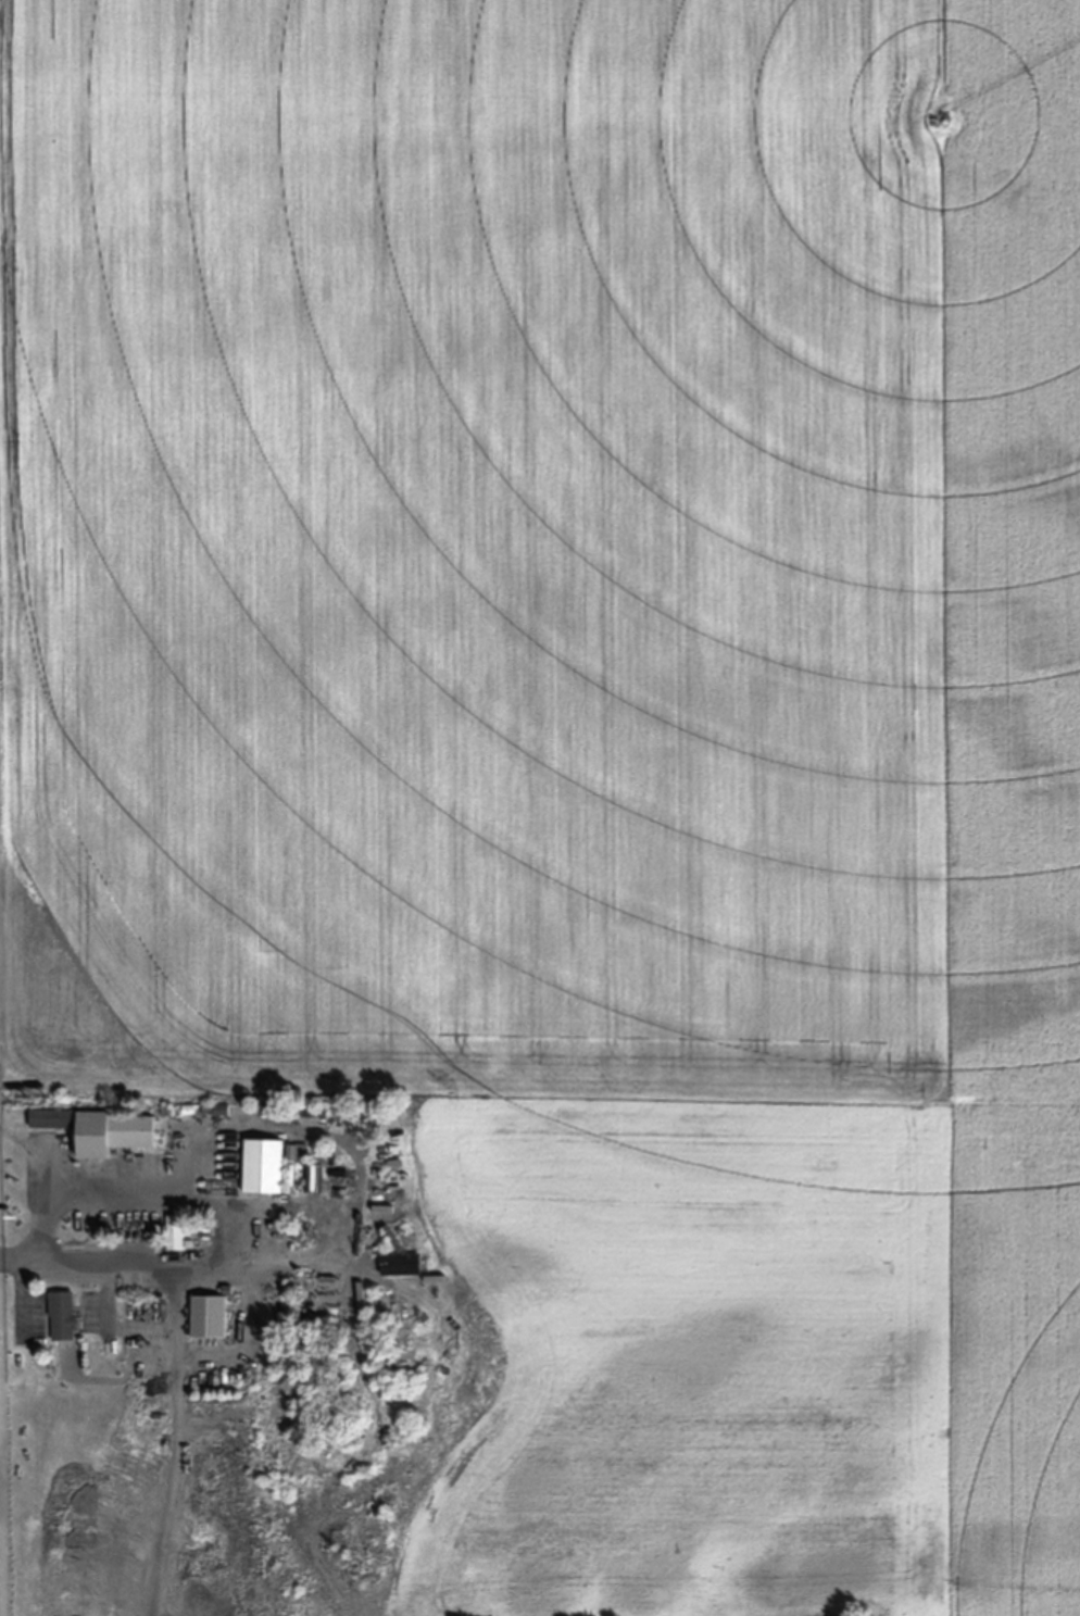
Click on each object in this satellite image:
building: (311, 1113)
building: (51, 1118)
building: (112, 1133)
building: (263, 1166)
building: (314, 1178)
road: (109, 1197)
building: (174, 1232)
road: (148, 1261)
building: (401, 1264)
building: (63, 1316)
building: (209, 1318)
quarry: (879, 1615)

